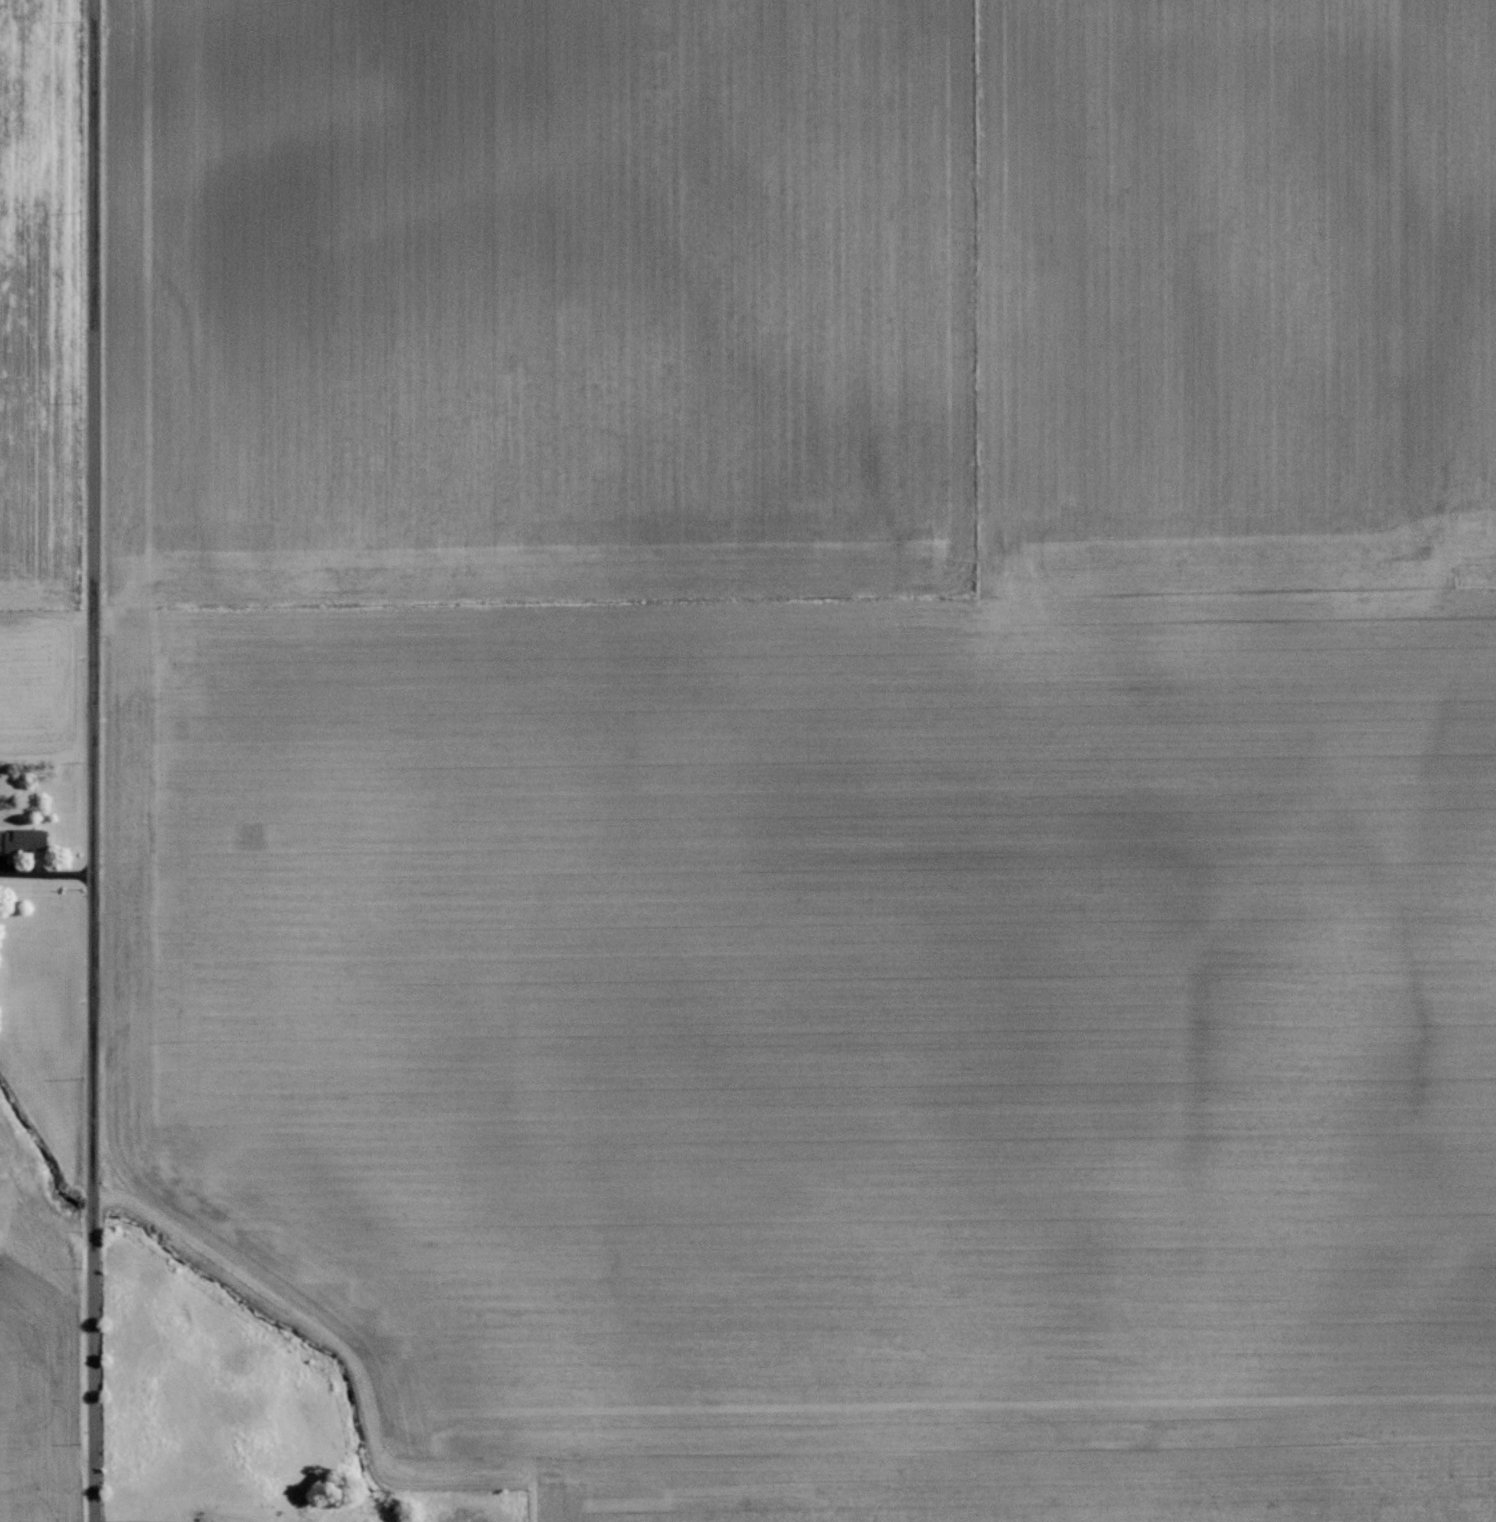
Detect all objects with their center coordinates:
road: (92, 761)

